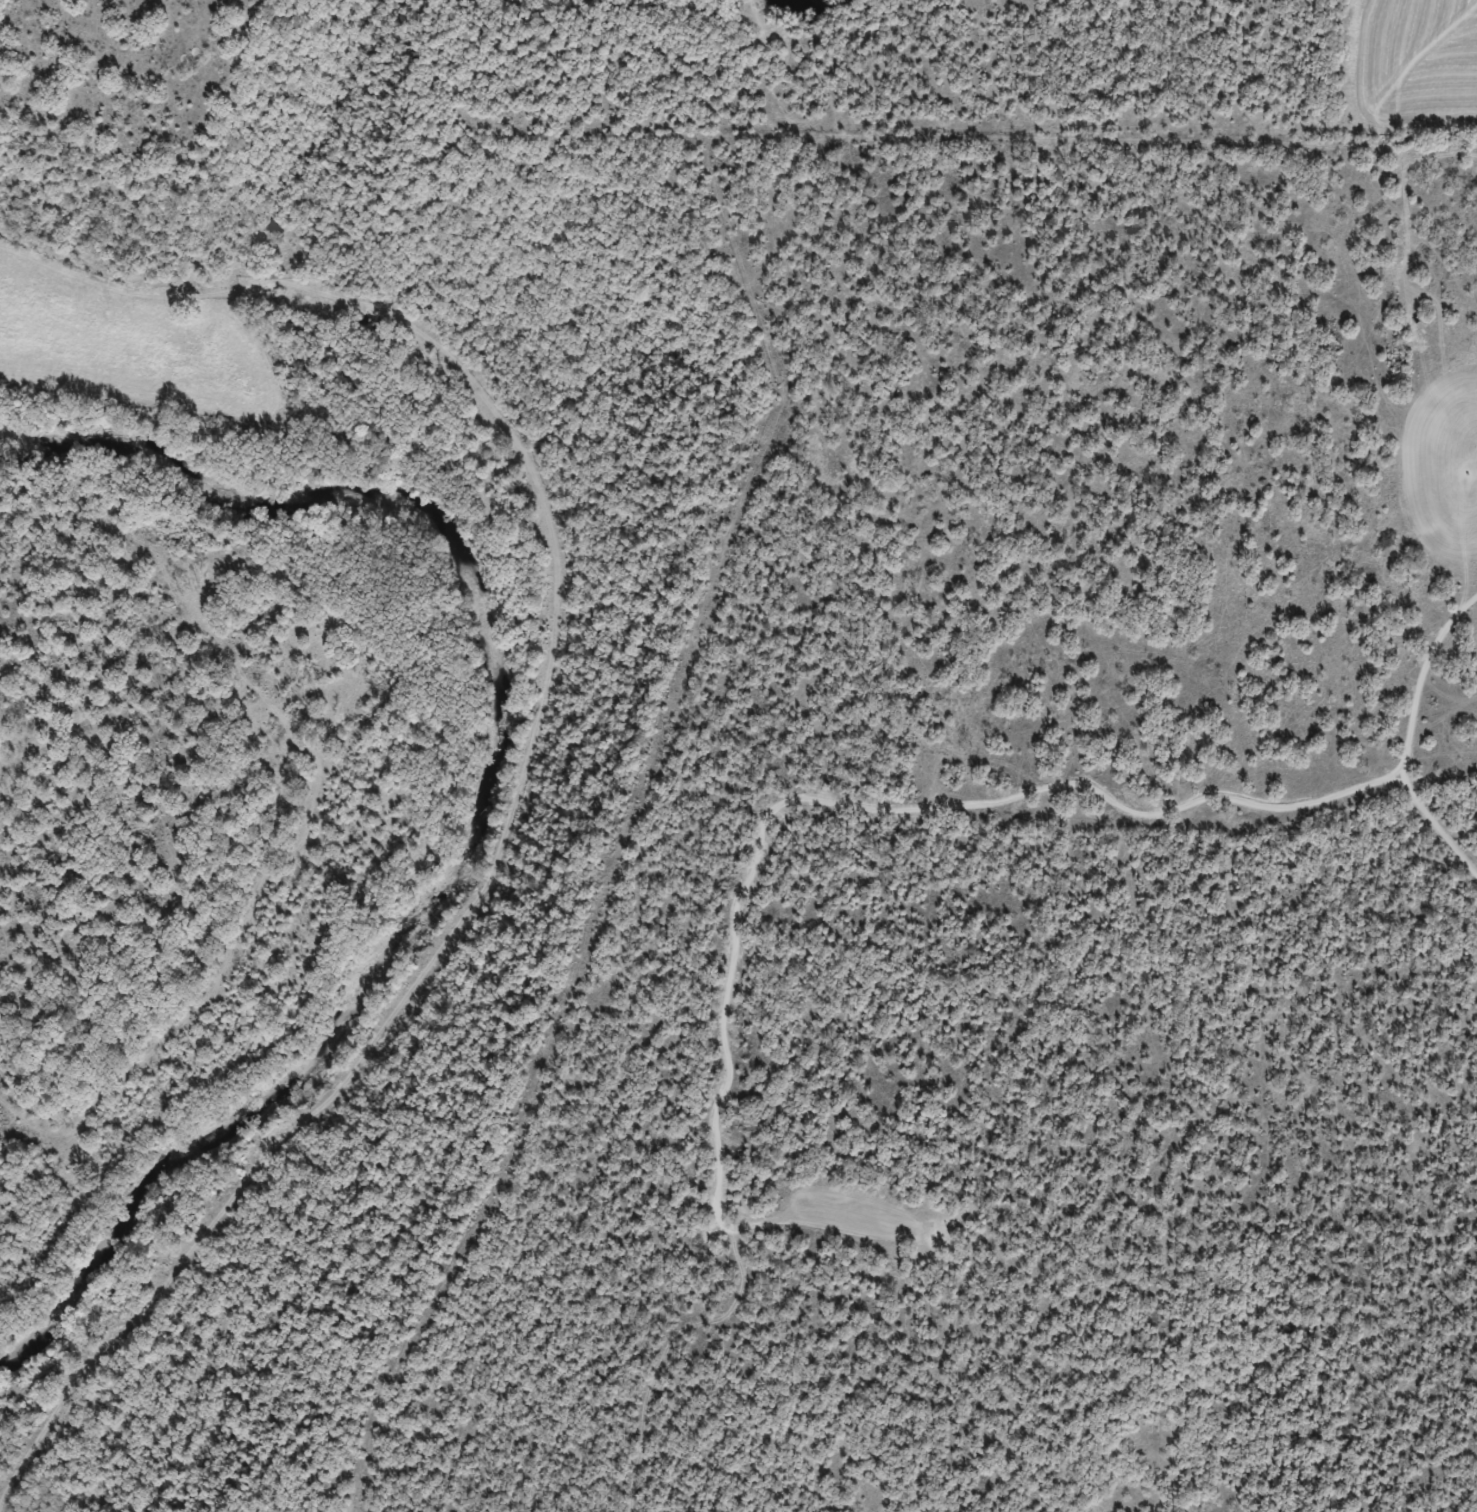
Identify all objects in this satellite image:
road: (1443, 697)

